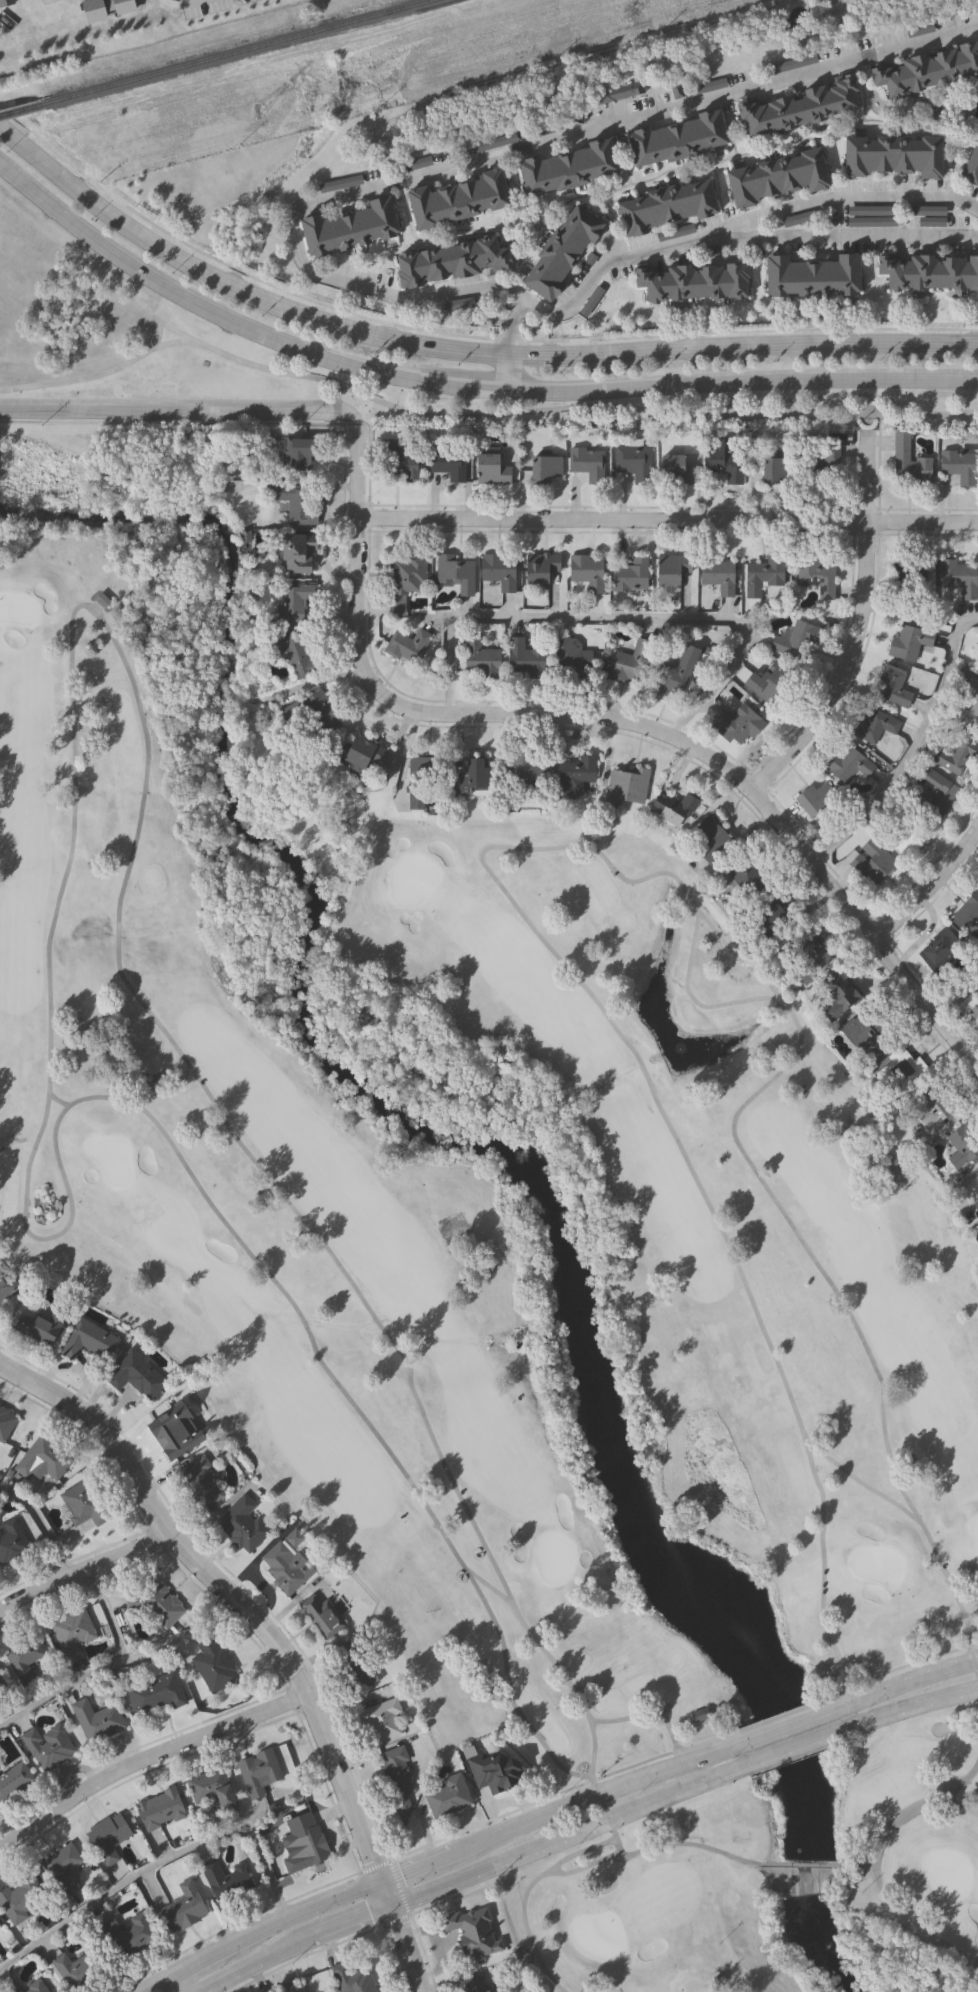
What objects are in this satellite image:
building: (177, 0)
park: (47, 1)
building: (6, 3)
building: (105, 8)
power tower: (632, 10)
railway: (241, 52)
building: (792, 60)
building: (928, 66)
building: (697, 87)
building: (618, 92)
building: (800, 107)
railway: (23, 110)
power tower: (258, 112)
building: (679, 137)
building: (495, 139)
building: (894, 155)
building: (971, 166)
building: (567, 167)
building: (778, 176)
building: (340, 183)
road: (849, 197)
building: (456, 198)
building: (666, 205)
building: (926, 214)
building: (870, 216)
building: (349, 227)
building: (675, 231)
road: (295, 238)
building: (562, 251)
building: (451, 262)
building: (929, 272)
building: (812, 277)
building: (694, 282)
road: (205, 309)
road: (158, 321)
road: (510, 327)
road: (538, 341)
road: (459, 350)
road: (508, 372)
road: (742, 384)
road: (475, 386)
road: (337, 391)
park: (679, 408)
road: (166, 411)
road: (864, 413)
road: (481, 415)
building: (298, 450)
building: (725, 460)
building: (908, 460)
building: (632, 461)
building: (587, 463)
building: (405, 465)
building: (448, 465)
building: (825, 465)
building: (958, 466)
building: (543, 467)
building: (490, 468)
building: (773, 469)
building: (674, 470)
building: (295, 503)
road: (667, 519)
building: (298, 550)
building: (539, 568)
building: (670, 568)
building: (585, 571)
building: (498, 572)
building: (454, 573)
building: (631, 575)
building: (764, 575)
building: (717, 576)
building: (817, 576)
building: (957, 578)
building: (407, 579)
building: (908, 579)
building: (292, 600)
road: (622, 616)
road: (850, 639)
building: (795, 641)
building: (909, 642)
building: (405, 646)
building: (290, 653)
building: (523, 658)
building: (572, 658)
building: (479, 659)
building: (630, 663)
building: (674, 674)
building: (766, 681)
building: (893, 688)
building: (317, 711)
road: (603, 716)
building: (737, 724)
building: (877, 726)
road: (912, 745)
road: (74, 754)
building: (363, 755)
building: (952, 757)
building: (849, 764)
building: (526, 767)
building: (574, 775)
building: (473, 776)
building: (423, 777)
building: (626, 787)
building: (936, 794)
building: (670, 809)
building: (906, 833)
building: (709, 838)
road: (568, 845)
building: (876, 865)
building: (744, 872)
road: (928, 886)
building: (768, 912)
building: (967, 917)
road: (926, 933)
building: (941, 951)
building: (804, 957)
building: (836, 994)
road: (957, 994)
road: (693, 999)
building: (974, 1012)
building: (865, 1032)
building: (897, 1068)
road: (58, 1100)
building: (930, 1103)
building: (962, 1144)
building: (976, 1178)
building: (975, 1205)
building: (5, 1284)
park: (512, 1288)
building: (44, 1325)
building: (87, 1339)
road: (76, 1367)
building: (133, 1375)
building: (5, 1423)
building: (166, 1436)
building: (41, 1458)
building: (199, 1482)
road: (862, 1483)
building: (82, 1503)
road: (40, 1524)
building: (241, 1524)
building: (11, 1540)
building: (287, 1563)
road: (85, 1568)
road: (262, 1583)
road: (300, 1597)
building: (154, 1603)
building: (321, 1613)
building: (71, 1633)
road: (272, 1634)
road: (970, 1647)
building: (22, 1657)
road: (974, 1659)
building: (211, 1663)
road: (909, 1664)
building: (357, 1666)
road: (100, 1667)
road: (977, 1671)
road: (905, 1682)
building: (1, 1686)
building: (155, 1693)
road: (836, 1695)
road: (908, 1705)
road: (782, 1716)
building: (380, 1718)
building: (96, 1720)
road: (784, 1725)
road: (958, 1729)
road: (709, 1741)
building: (46, 1745)
road: (794, 1746)
road: (592, 1751)
road: (147, 1758)
building: (399, 1770)
building: (258, 1772)
building: (492, 1772)
building: (13, 1779)
building: (210, 1787)
road: (598, 1792)
building: (447, 1795)
road: (535, 1802)
road: (603, 1806)
building: (158, 1809)
road: (608, 1820)
building: (107, 1837)
road: (616, 1842)
road: (655, 1847)
building: (303, 1848)
road: (438, 1855)
road: (874, 1859)
road: (160, 1860)
road: (801, 1864)
road: (856, 1865)
road: (374, 1866)
building: (61, 1867)
road: (472, 1873)
building: (224, 1879)
road: (398, 1887)
road: (525, 1894)
building: (18, 1897)
road: (454, 1897)
building: (183, 1907)
road: (394, 1921)
road: (234, 1925)
building: (0, 1926)
building: (472, 1932)
building: (133, 1933)
road: (304, 1955)
building: (75, 1968)
building: (352, 1979)
road: (180, 1984)
building: (476, 1985)
building: (34, 1986)
building: (10, 1987)
road: (691, 1989)
building: (268, 1990)
building: (273, 1991)

